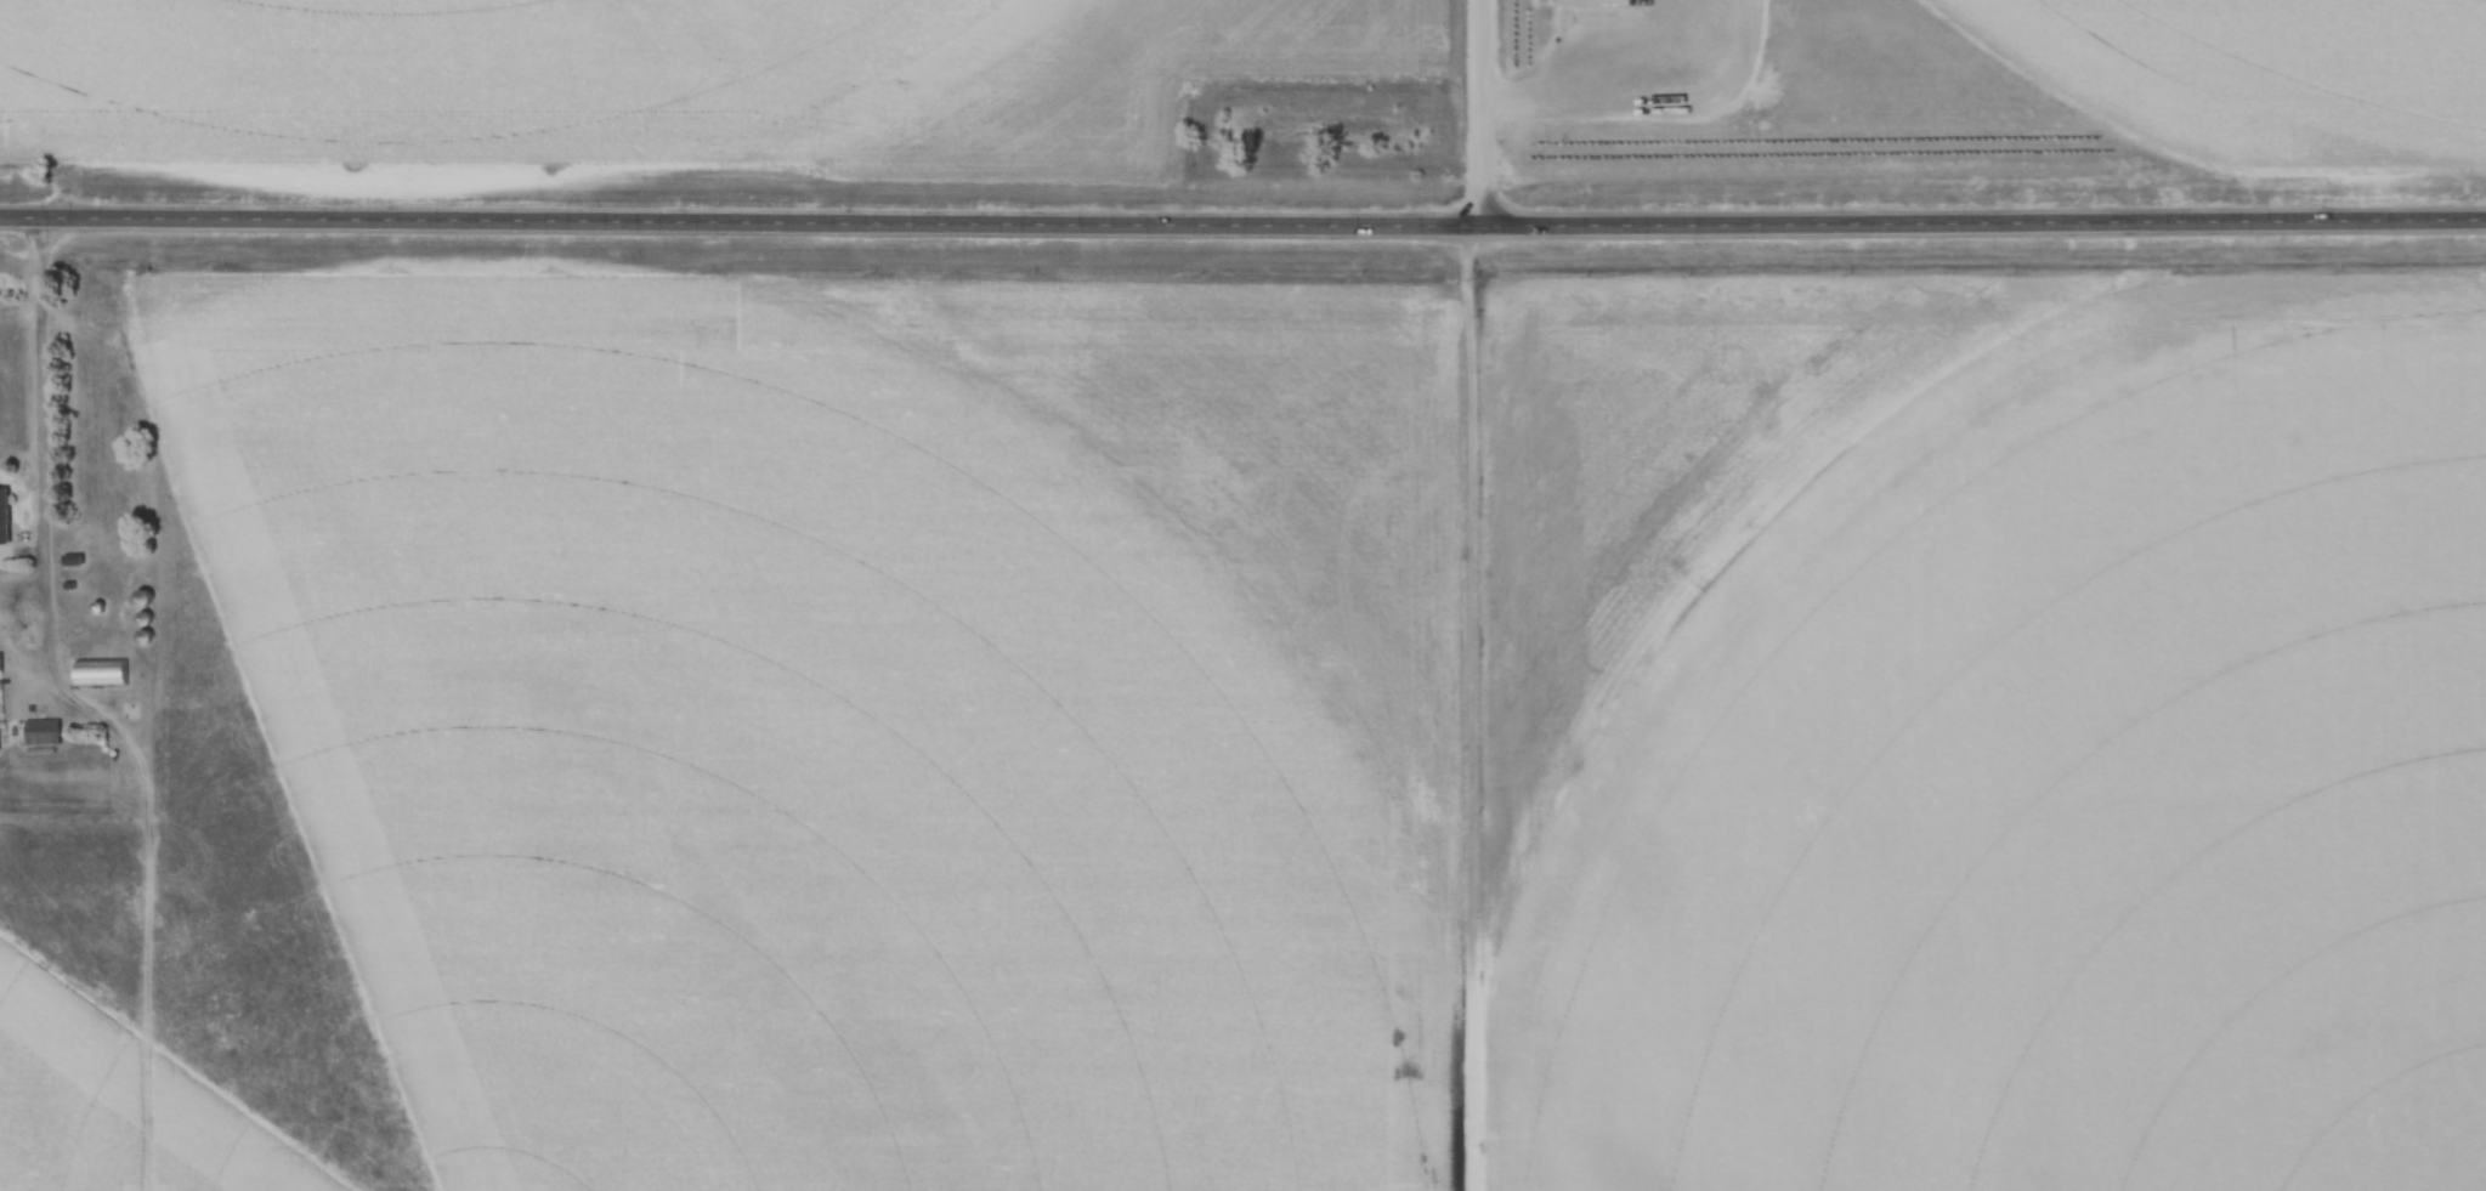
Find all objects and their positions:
road: (1480, 112)
road: (1242, 222)
road: (44, 393)
building: (4, 517)
building: (43, 731)

